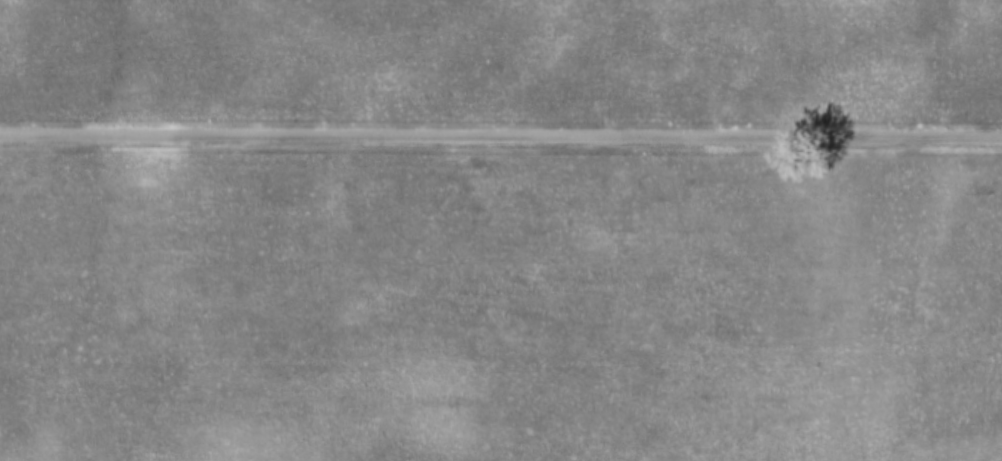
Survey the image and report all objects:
road: (501, 137)

